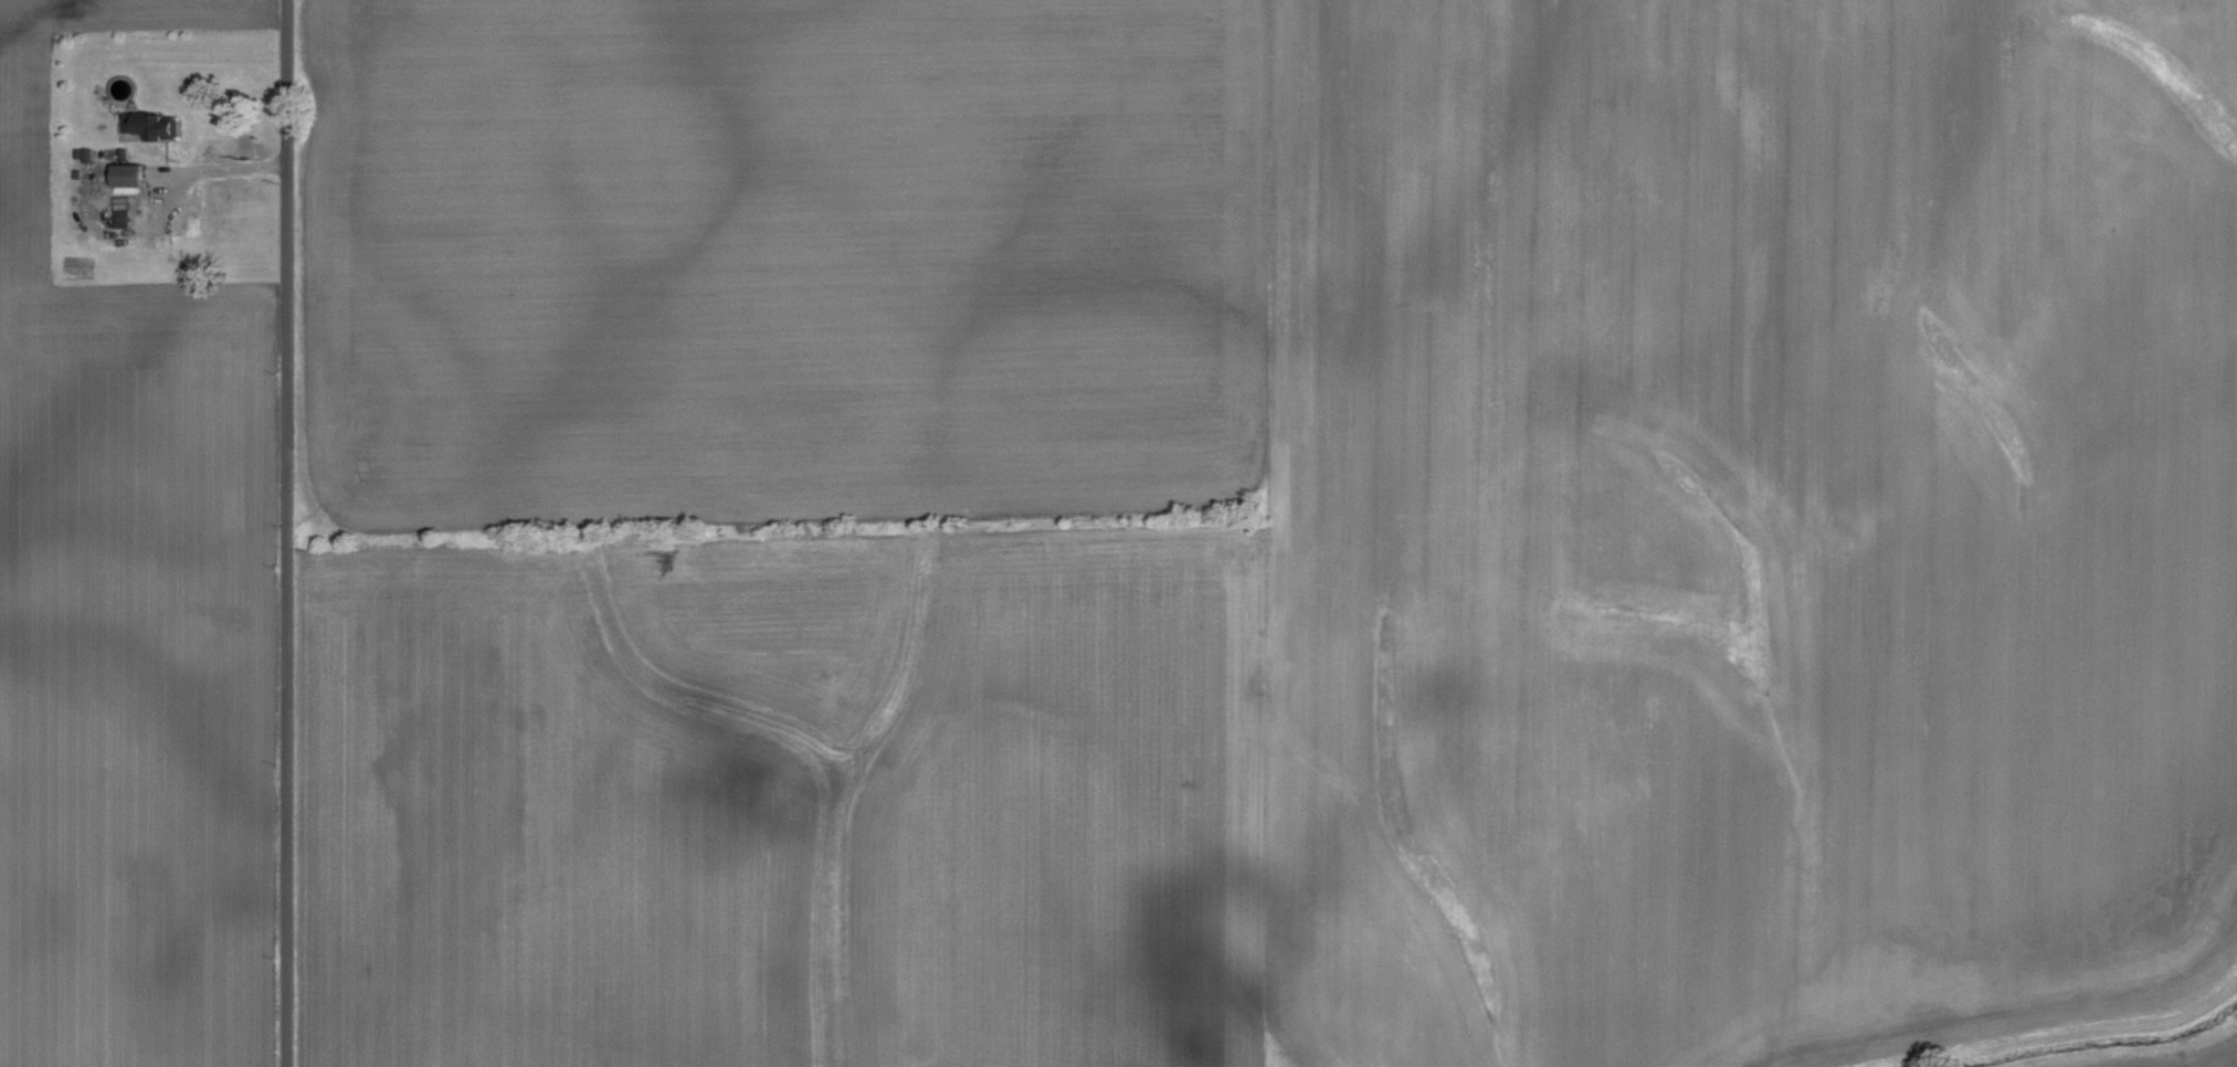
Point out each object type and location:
building: (149, 122)
road: (229, 168)
road: (285, 533)

